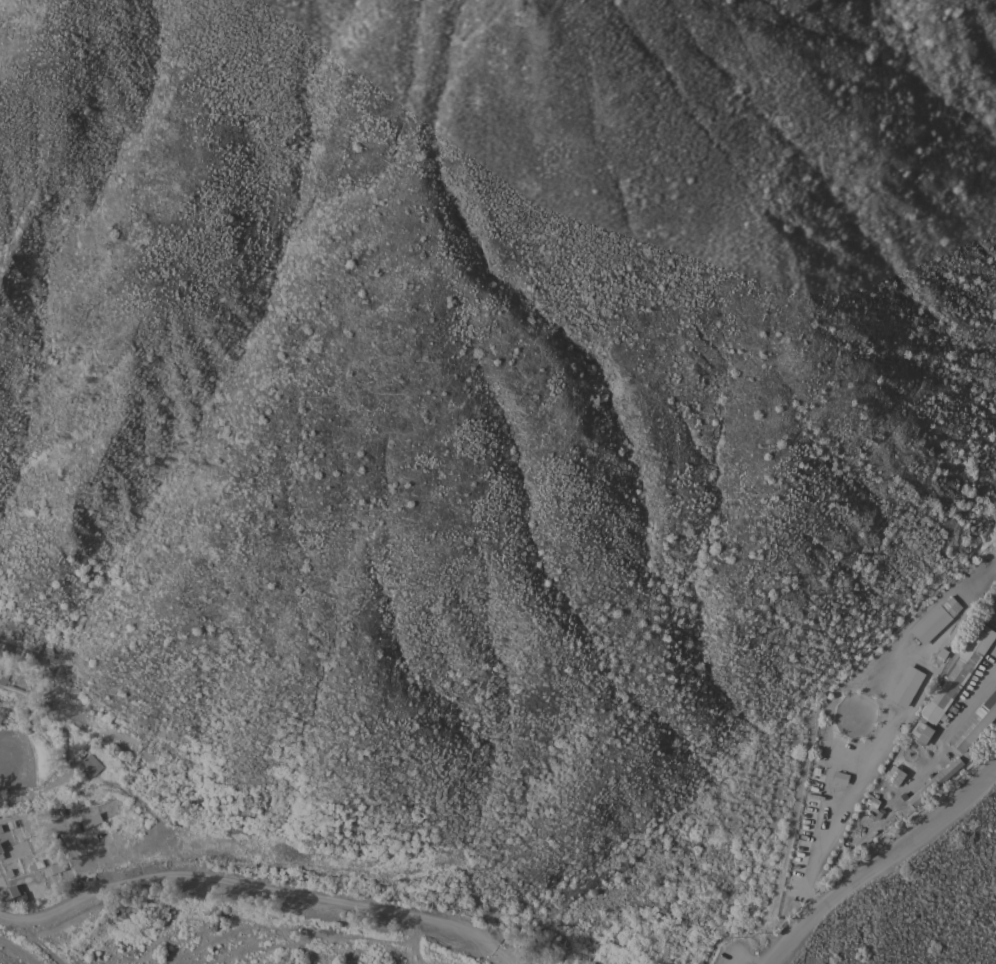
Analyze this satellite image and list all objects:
building: (937, 616)
building: (18, 643)
building: (963, 663)
building: (3, 678)
building: (8, 702)
building: (979, 730)
building: (91, 764)
road: (851, 780)
building: (925, 787)
road: (36, 789)
building: (91, 819)
building: (860, 823)
road: (879, 858)
road: (249, 889)
building: (11, 891)
parking lot: (738, 954)

